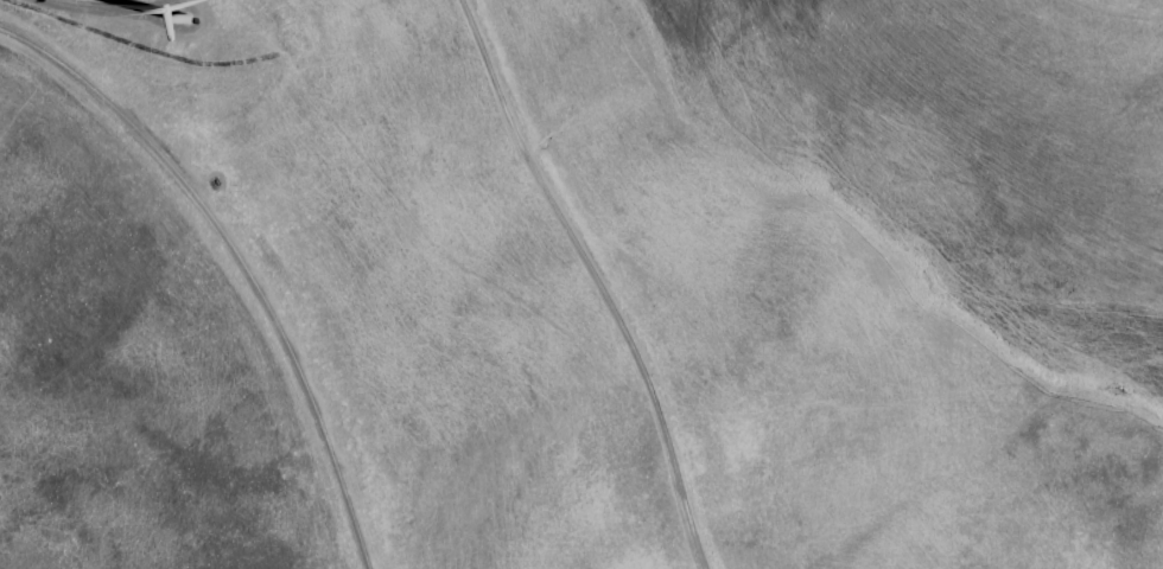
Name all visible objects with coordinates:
road: (82, 15)
wind turbine: (192, 18)
road: (227, 264)
road: (590, 279)

